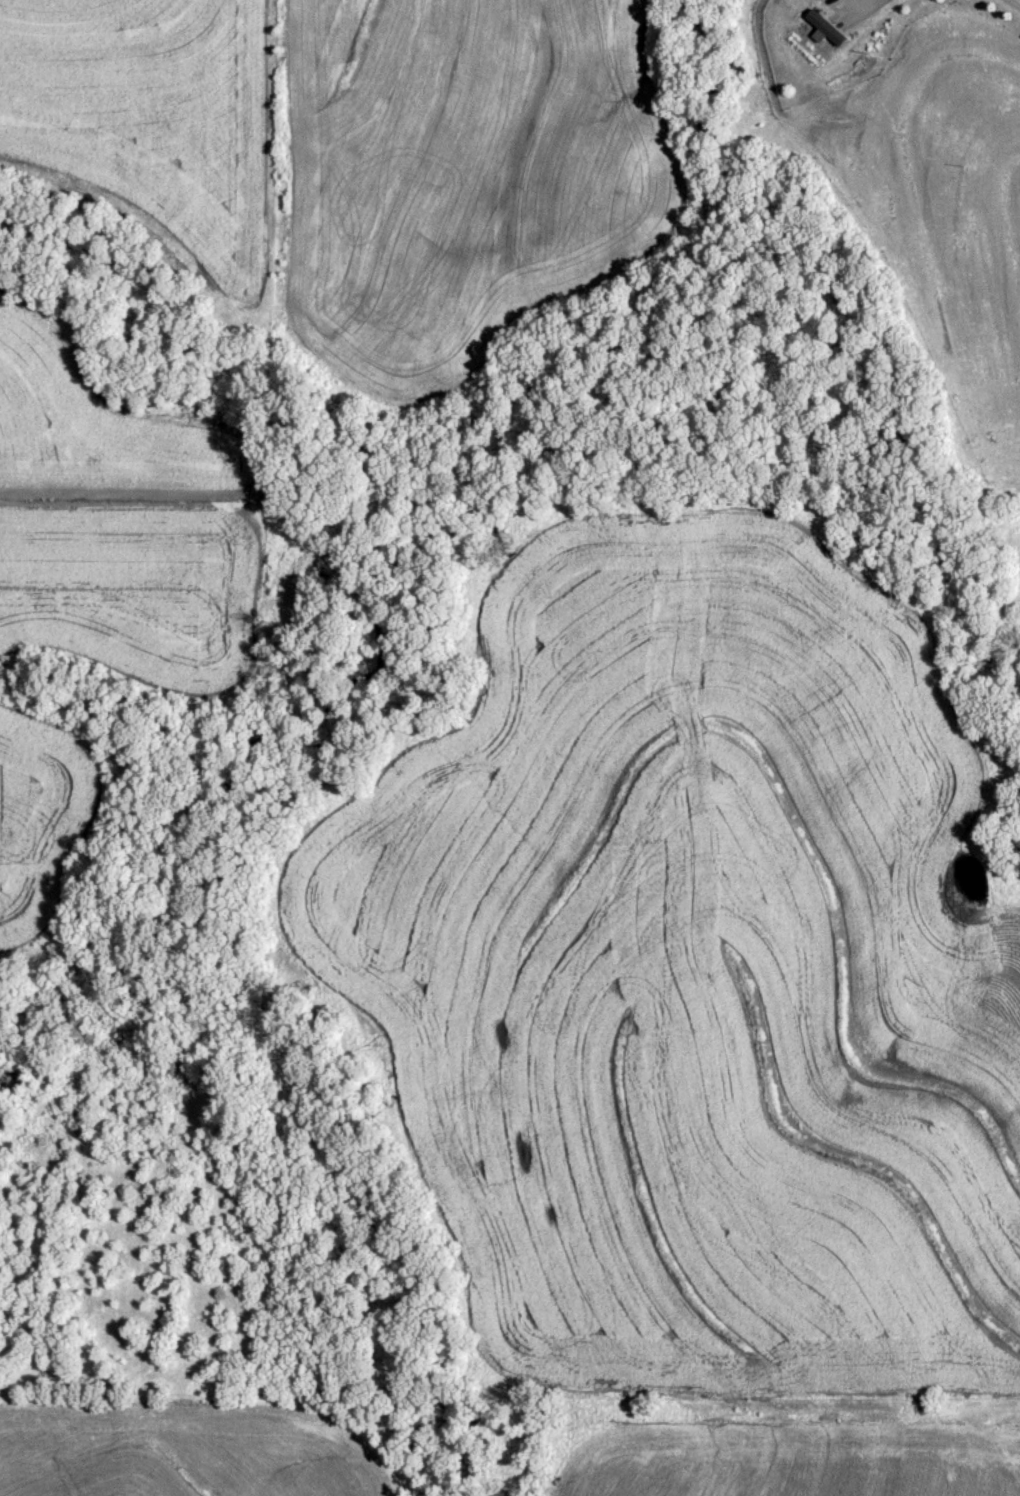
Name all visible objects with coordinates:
building: (817, 28)

